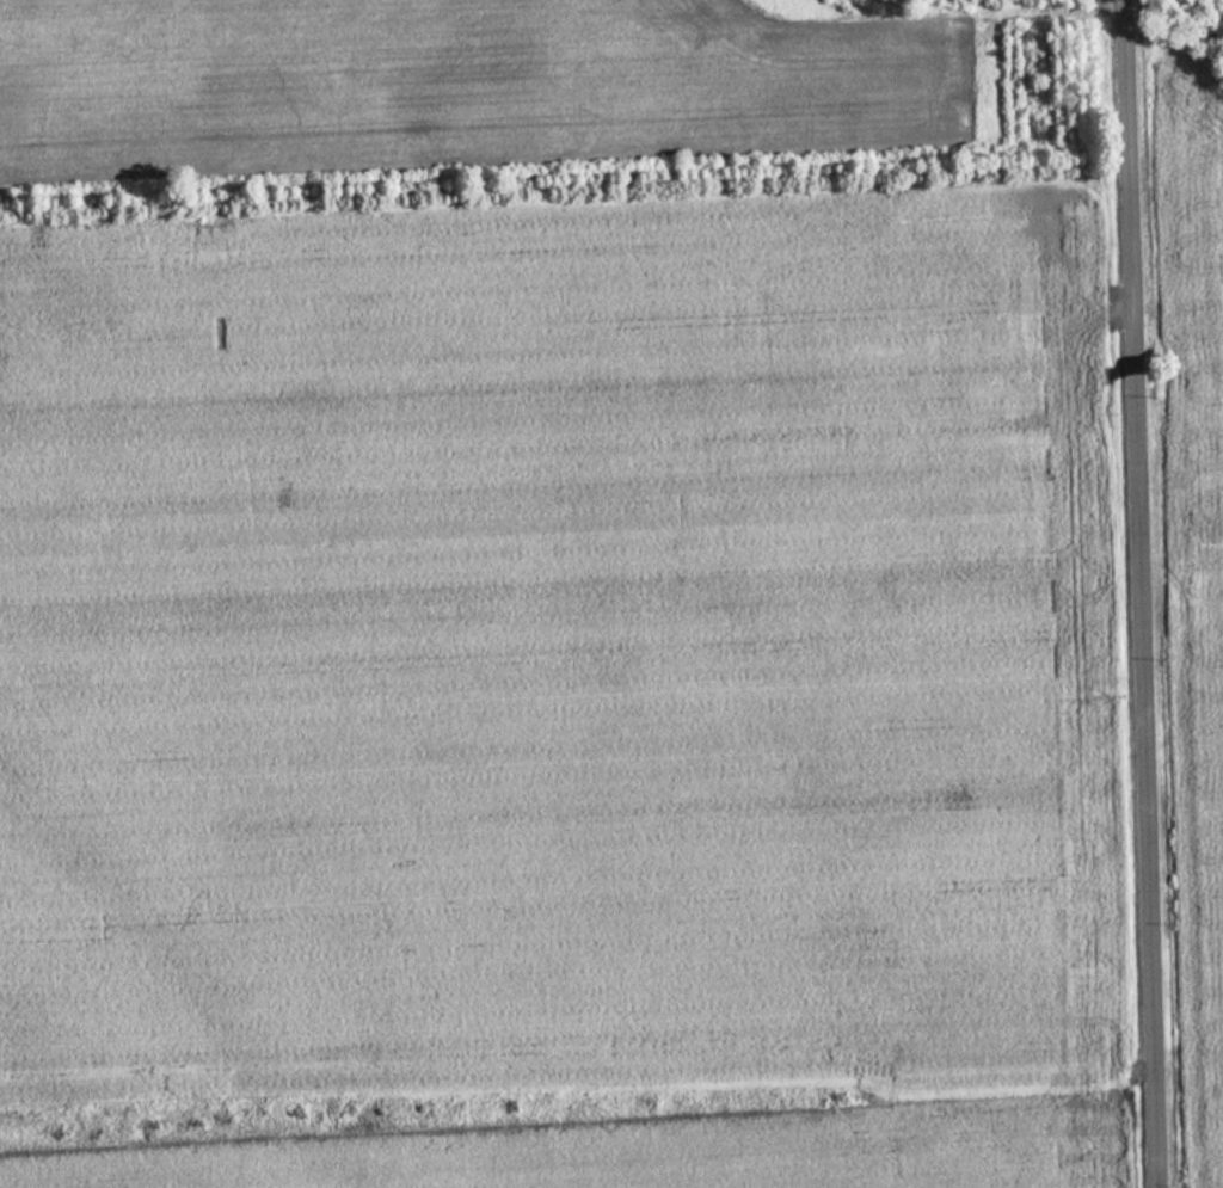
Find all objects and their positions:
road: (1138, 593)

